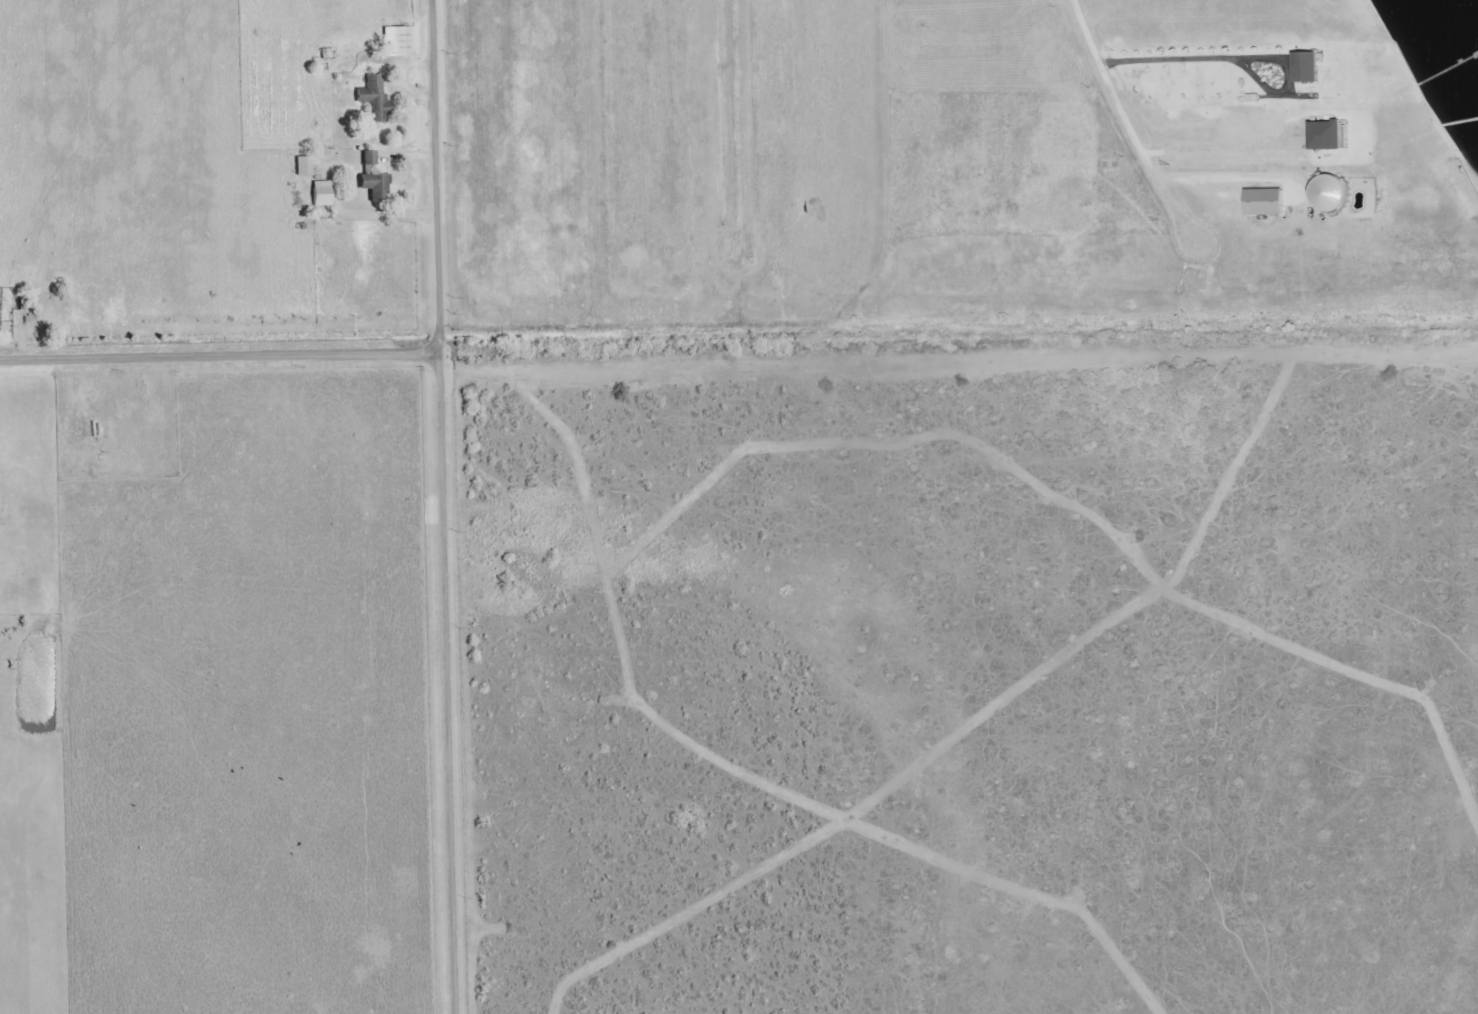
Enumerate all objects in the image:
building: (1308, 67)
building: (375, 99)
building: (1330, 135)
building: (304, 166)
building: (376, 186)
building: (322, 193)
building: (1331, 194)
building: (1266, 203)
road: (220, 352)
road: (444, 507)

